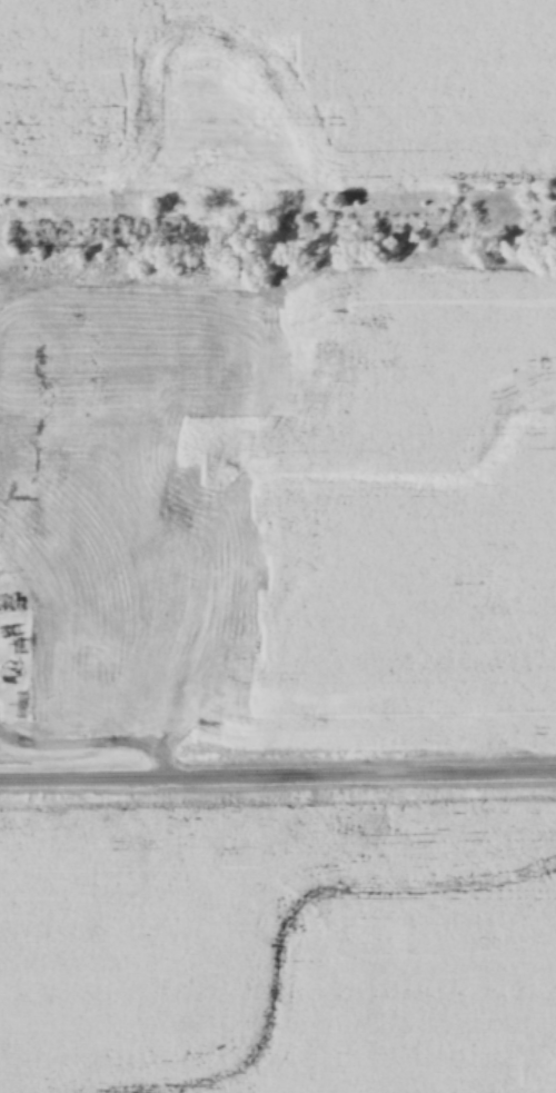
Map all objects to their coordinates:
building: (188, 320)
building: (9, 604)
building: (7, 673)
road: (96, 728)
road: (277, 759)

